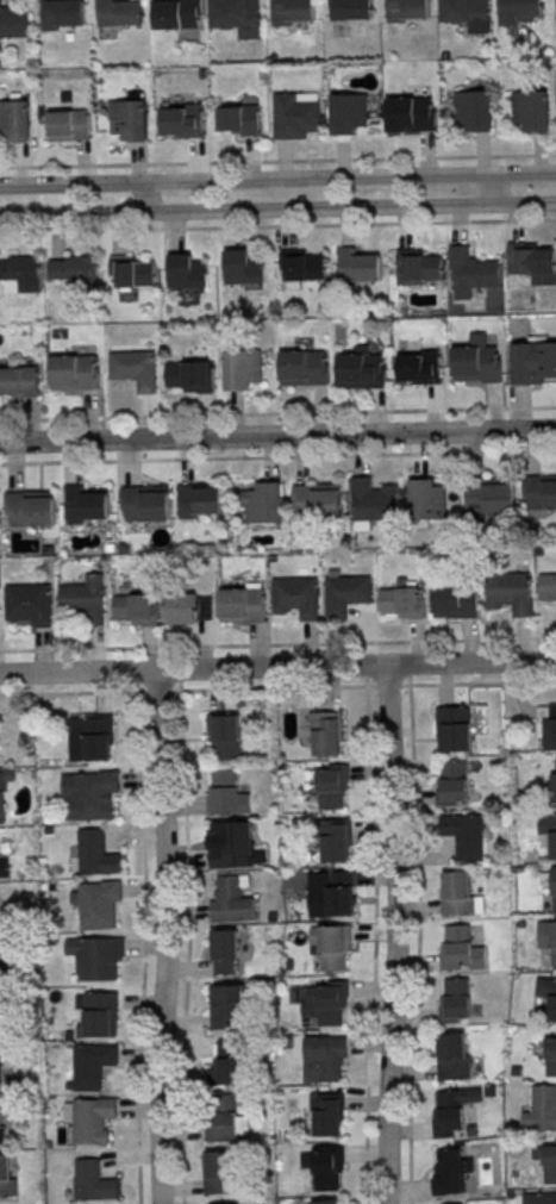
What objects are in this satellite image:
building: (351, 10)
building: (407, 11)
building: (464, 11)
building: (64, 12)
building: (119, 12)
building: (292, 12)
building: (518, 12)
building: (177, 13)
building: (237, 17)
building: (13, 19)
building: (532, 108)
building: (475, 110)
building: (348, 112)
building: (296, 114)
building: (411, 114)
building: (130, 118)
building: (240, 119)
building: (15, 120)
building: (183, 120)
building: (70, 123)
road: (277, 161)
road: (277, 180)
road: (489, 189)
road: (140, 198)
road: (277, 208)
road: (277, 226)
building: (531, 262)
building: (358, 266)
building: (300, 267)
building: (419, 267)
building: (242, 268)
building: (76, 270)
building: (187, 270)
building: (23, 272)
building: (131, 272)
building: (469, 272)
building: (475, 360)
building: (533, 362)
building: (418, 367)
building: (133, 368)
building: (304, 368)
building: (242, 369)
building: (361, 370)
building: (74, 372)
building: (188, 376)
building: (19, 381)
road: (277, 413)
road: (277, 436)
road: (277, 457)
building: (539, 492)
building: (488, 498)
building: (427, 499)
building: (199, 500)
building: (318, 500)
building: (145, 503)
building: (262, 503)
building: (373, 503)
building: (86, 505)
building: (31, 507)
building: (546, 587)
building: (345, 594)
building: (296, 597)
building: (85, 599)
building: (456, 599)
building: (402, 600)
building: (30, 604)
building: (242, 605)
building: (132, 606)
building: (188, 607)
road: (277, 667)
road: (386, 685)
building: (546, 726)
building: (454, 729)
building: (327, 732)
building: (224, 736)
building: (90, 737)
building: (555, 763)
building: (451, 782)
building: (333, 786)
building: (554, 787)
building: (225, 793)
building: (88, 794)
building: (1, 803)
building: (549, 830)
building: (466, 835)
building: (335, 842)
building: (231, 846)
building: (96, 854)
building: (4, 868)
building: (552, 890)
building: (331, 893)
building: (460, 894)
building: (231, 900)
building: (96, 904)
road: (394, 935)
road: (164, 936)
road: (373, 938)
road: (416, 938)
building: (546, 940)
building: (331, 946)
building: (460, 949)
building: (224, 952)
building: (95, 957)
building: (2, 961)
building: (546, 994)
building: (456, 1000)
building: (325, 1003)
building: (227, 1006)
building: (96, 1013)
building: (451, 1056)
building: (550, 1056)
building: (325, 1058)
building: (90, 1065)
building: (227, 1065)
building: (452, 1110)
building: (541, 1110)
building: (329, 1113)
building: (89, 1119)
building: (226, 1121)
building: (1, 1123)
building: (546, 1159)
building: (326, 1165)
building: (219, 1172)
building: (450, 1172)
building: (6, 1178)
building: (90, 1181)
building: (538, 1198)
building: (324, 1202)

